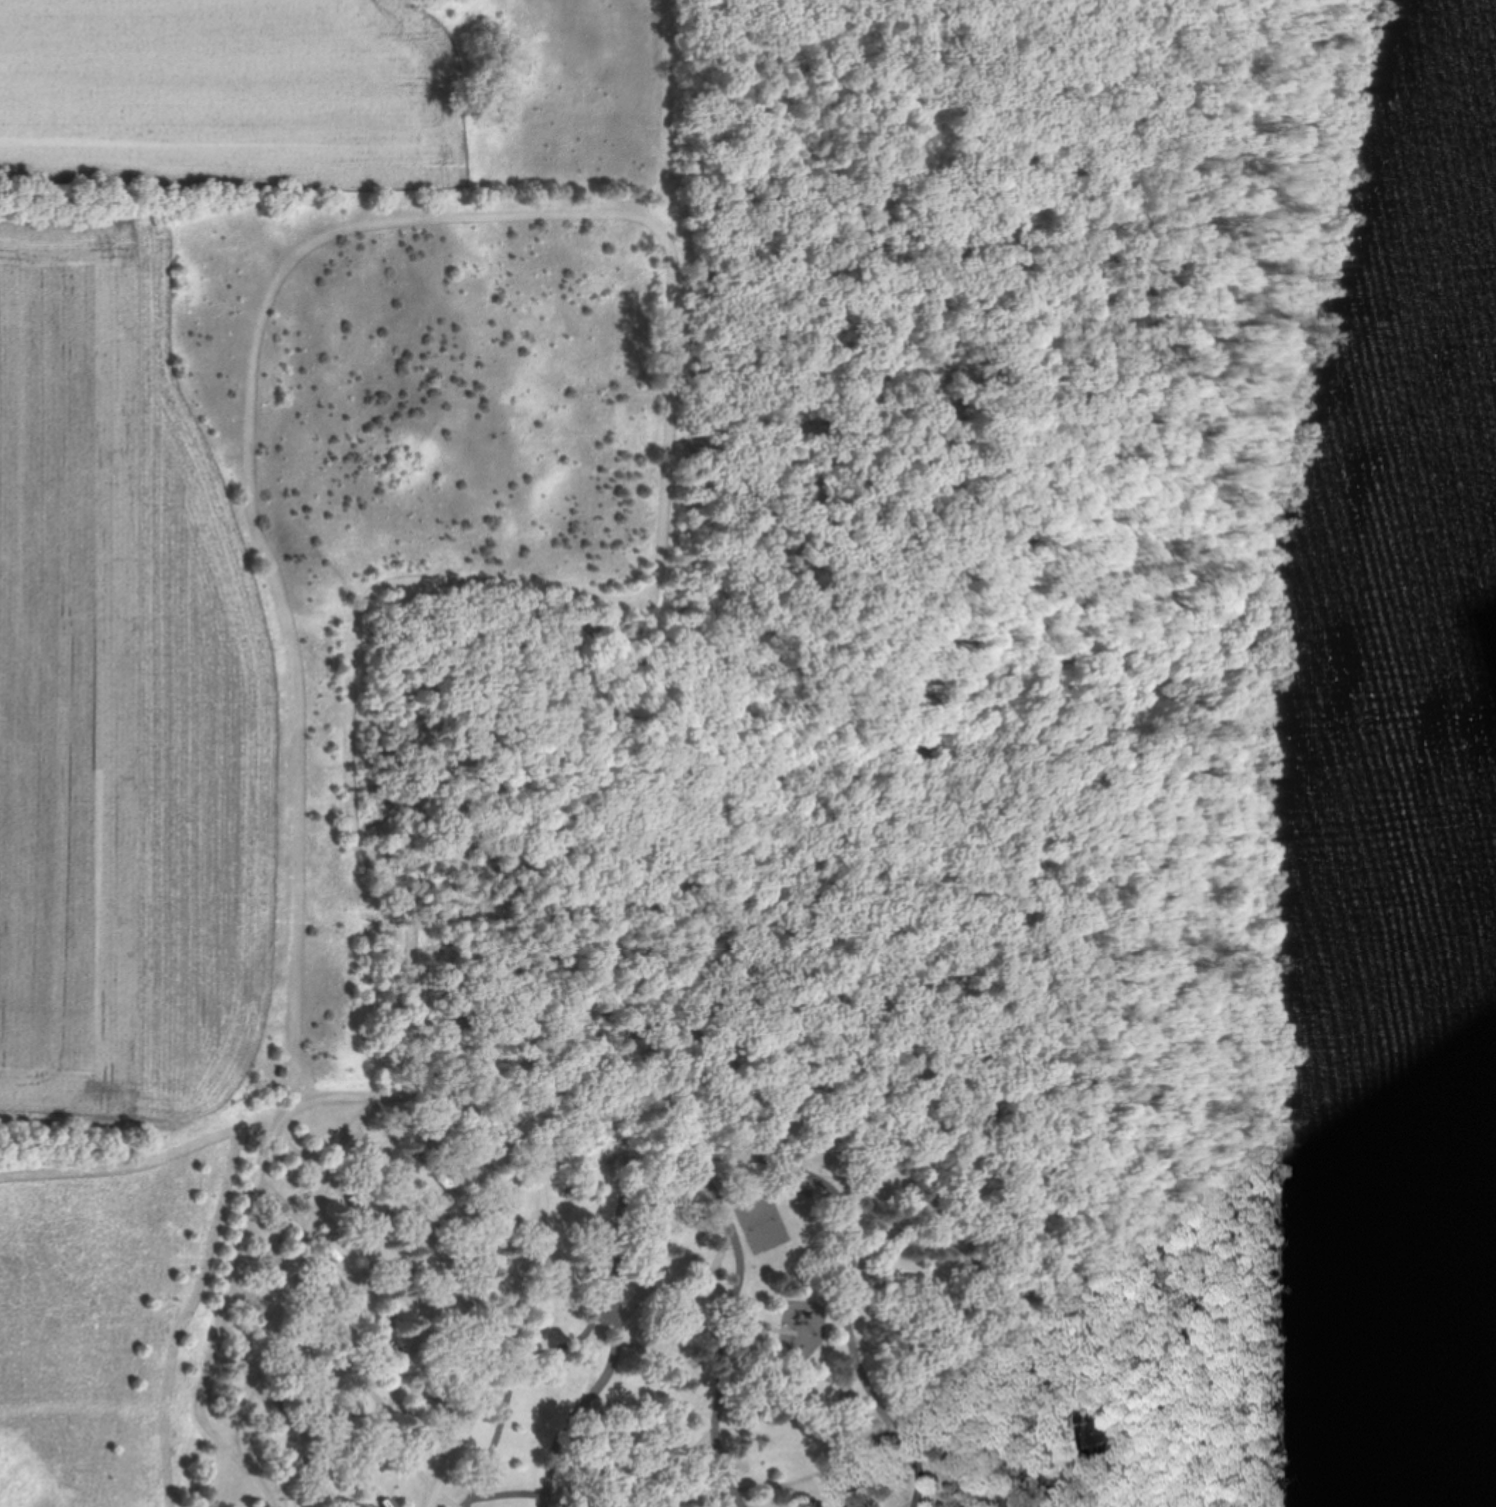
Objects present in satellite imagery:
park: (642, 746)
road: (401, 1105)
road: (730, 1156)
road: (727, 1328)
building: (590, 1348)
road: (205, 1396)
building: (1089, 1432)
road: (1033, 1480)

